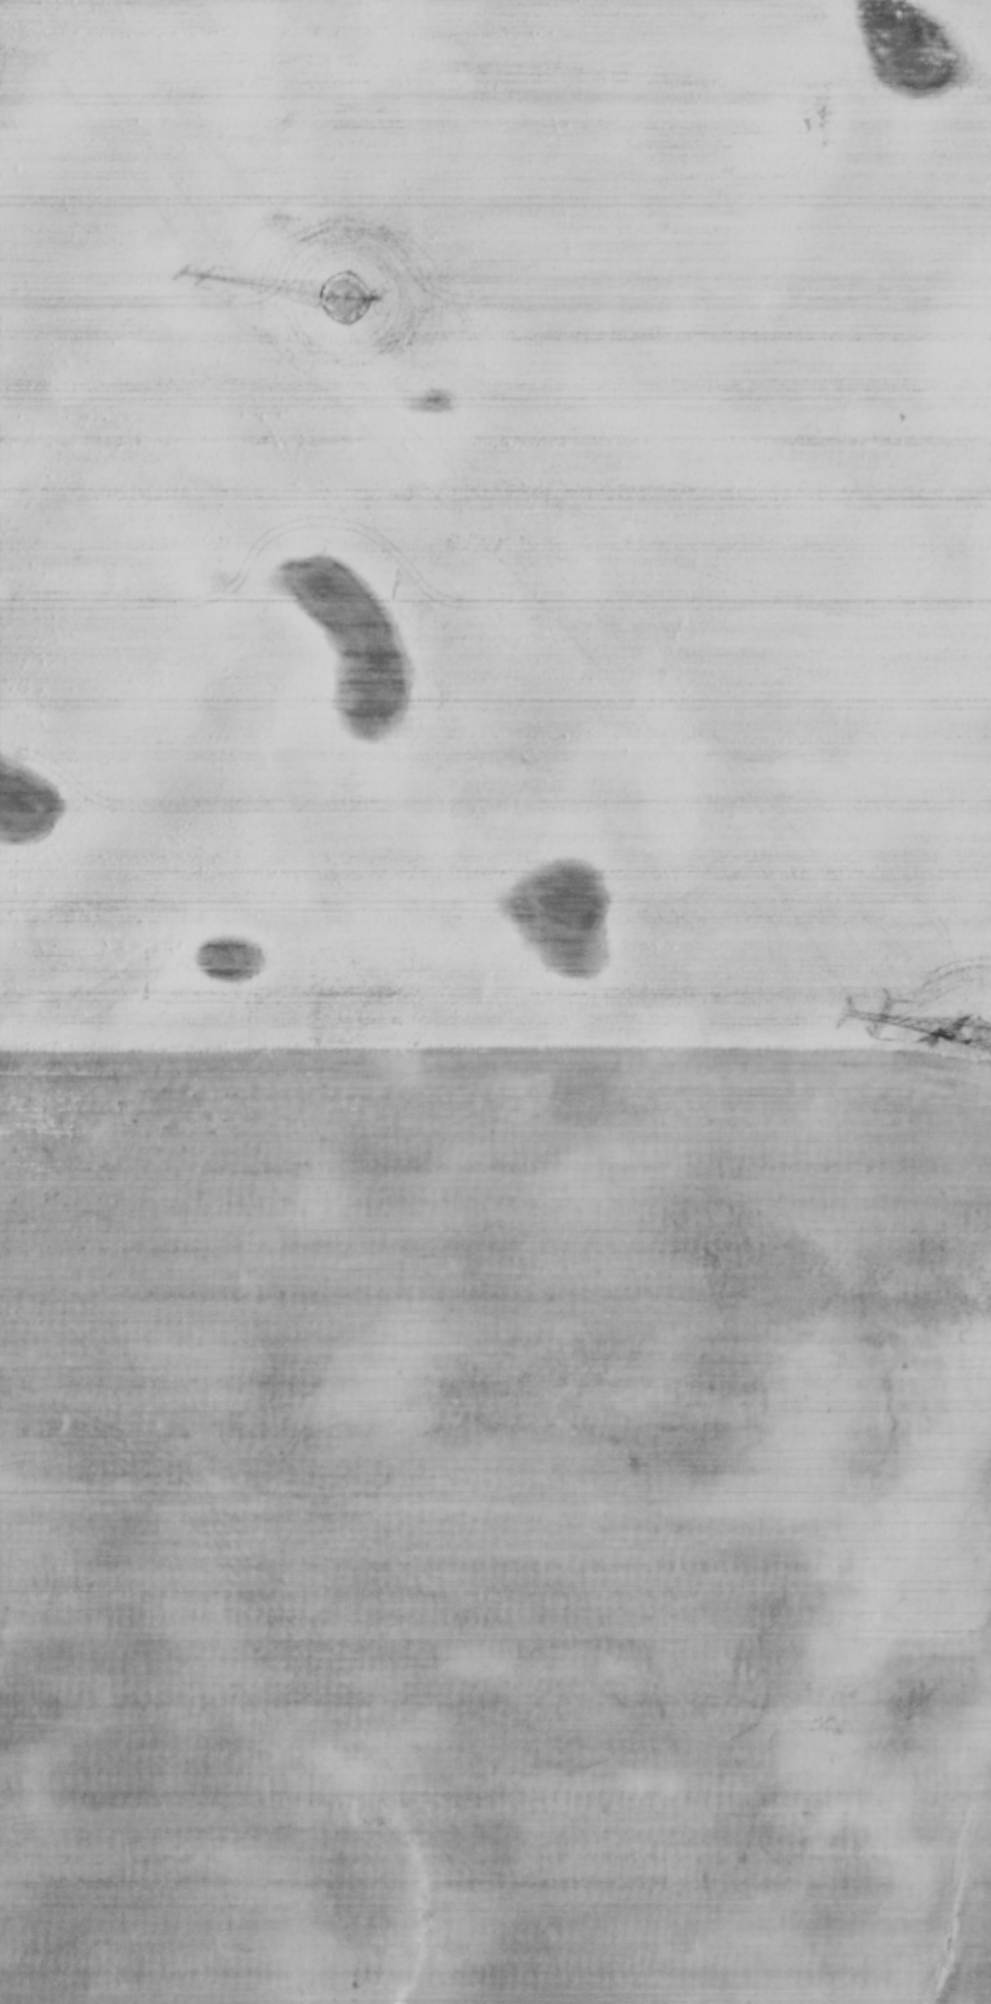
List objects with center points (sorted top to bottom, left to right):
power tower: (347, 305)
power tower: (985, 1037)

